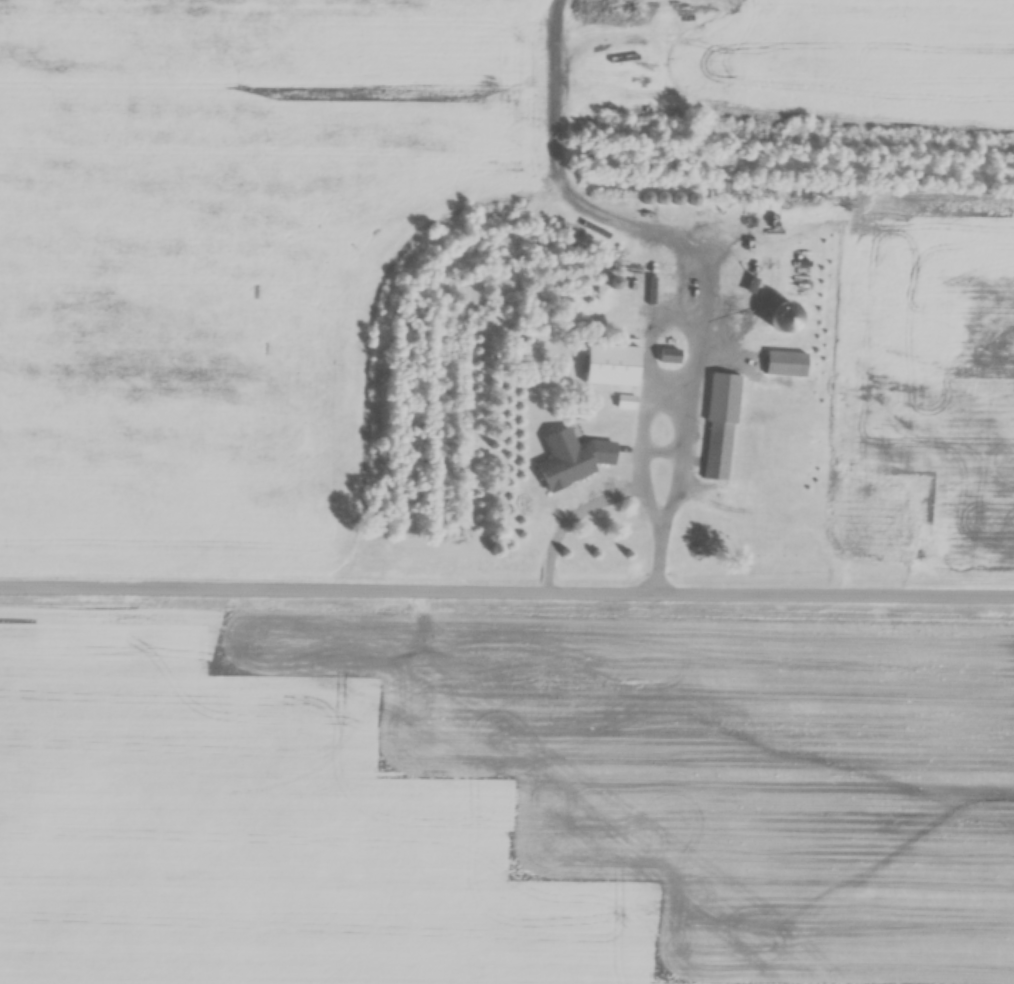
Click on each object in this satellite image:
building: (669, 358)
building: (785, 366)
building: (611, 367)
building: (625, 404)
building: (720, 429)
building: (577, 465)
road: (507, 600)

